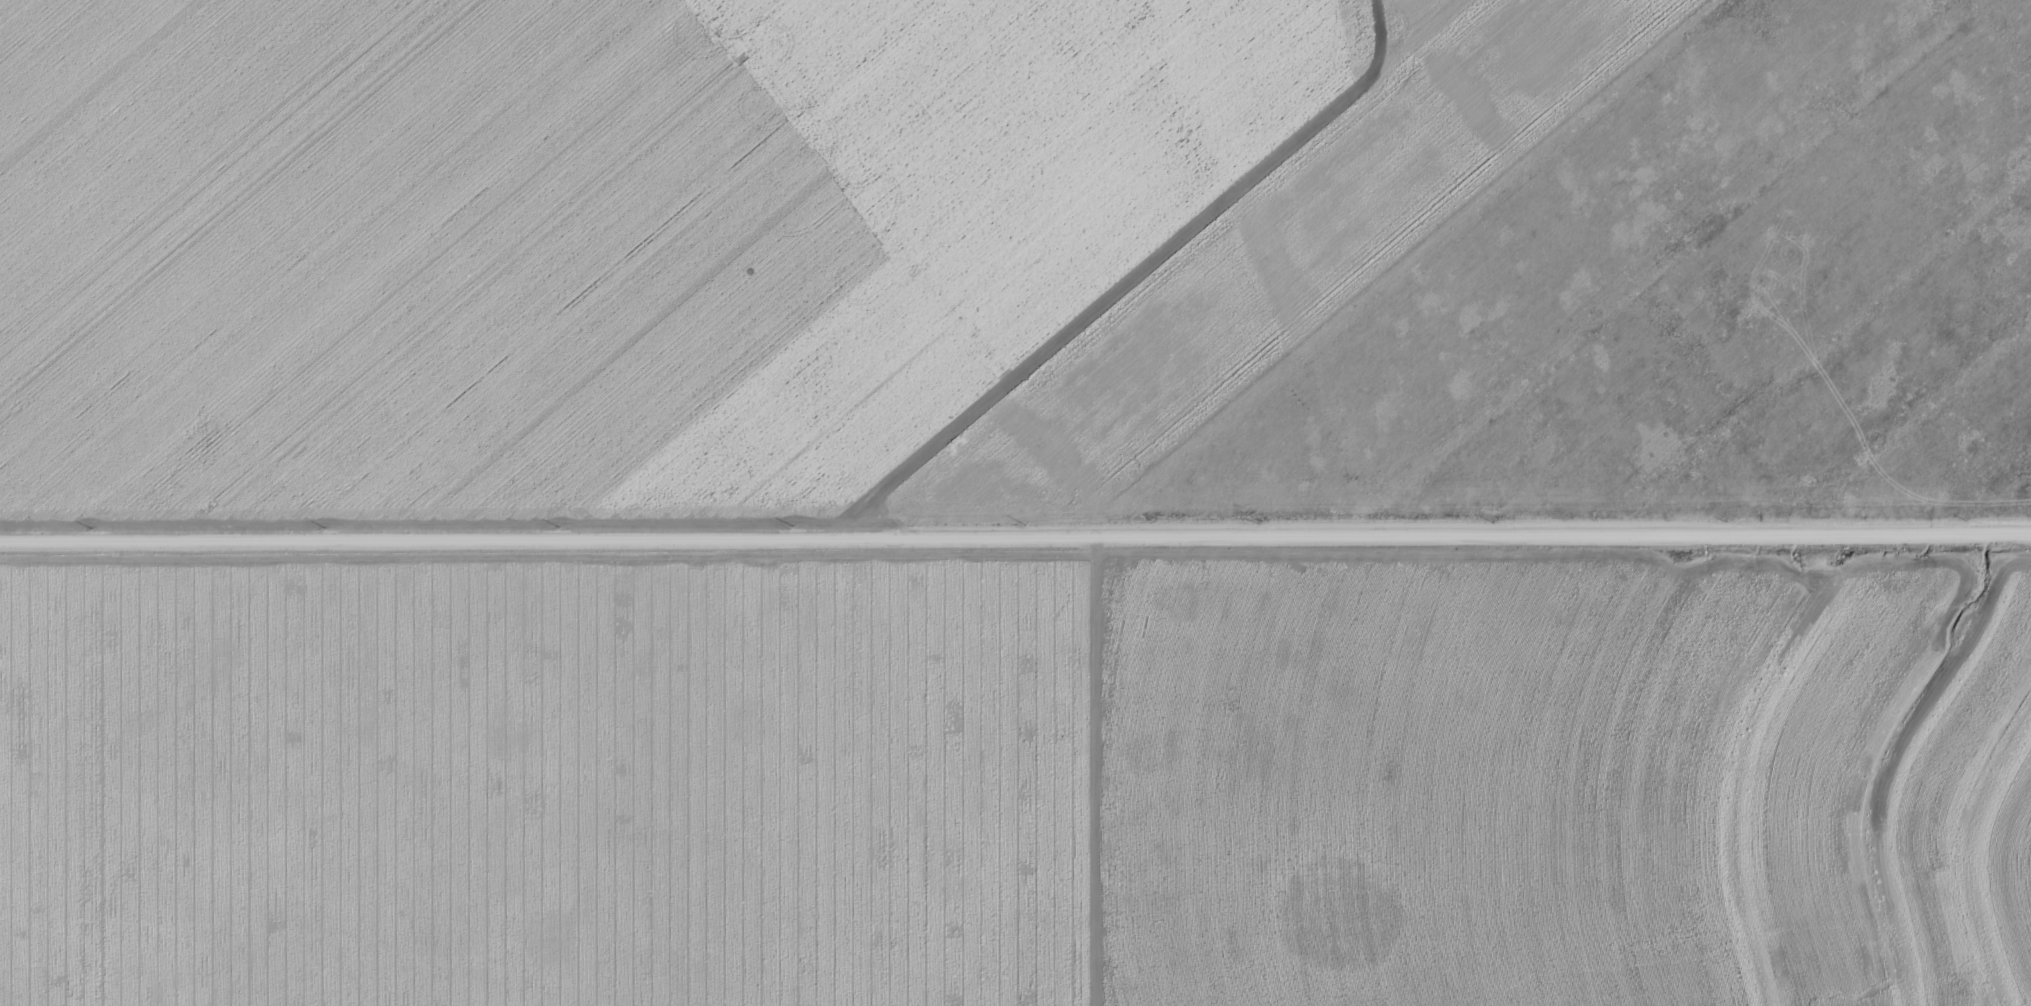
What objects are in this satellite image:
road: (1015, 538)

